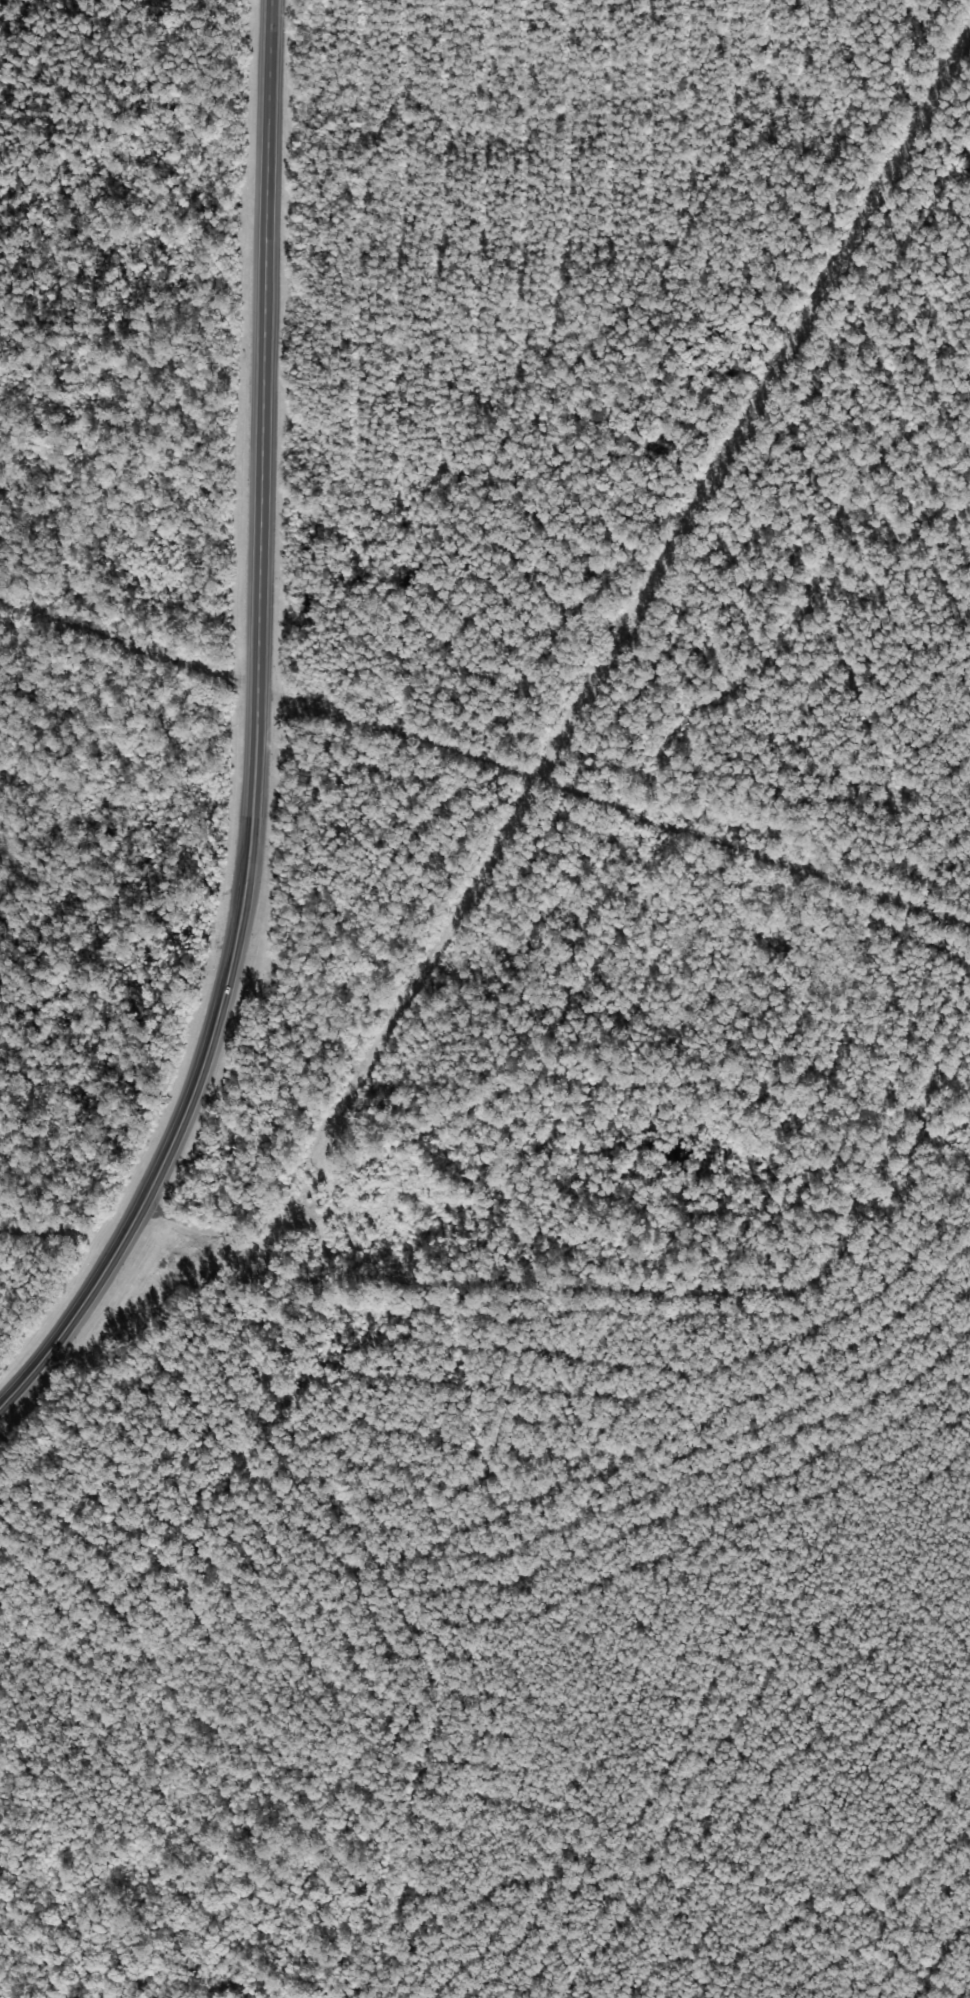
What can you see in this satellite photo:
road: (263, 741)

